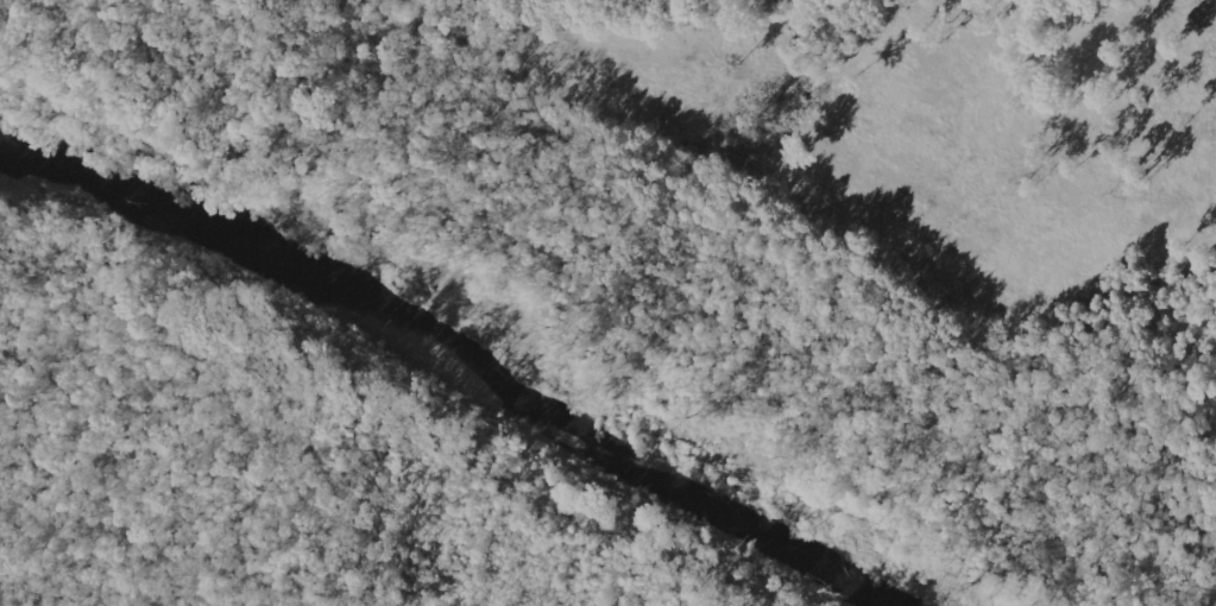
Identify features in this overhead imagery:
road: (578, 137)
river: (449, 379)

